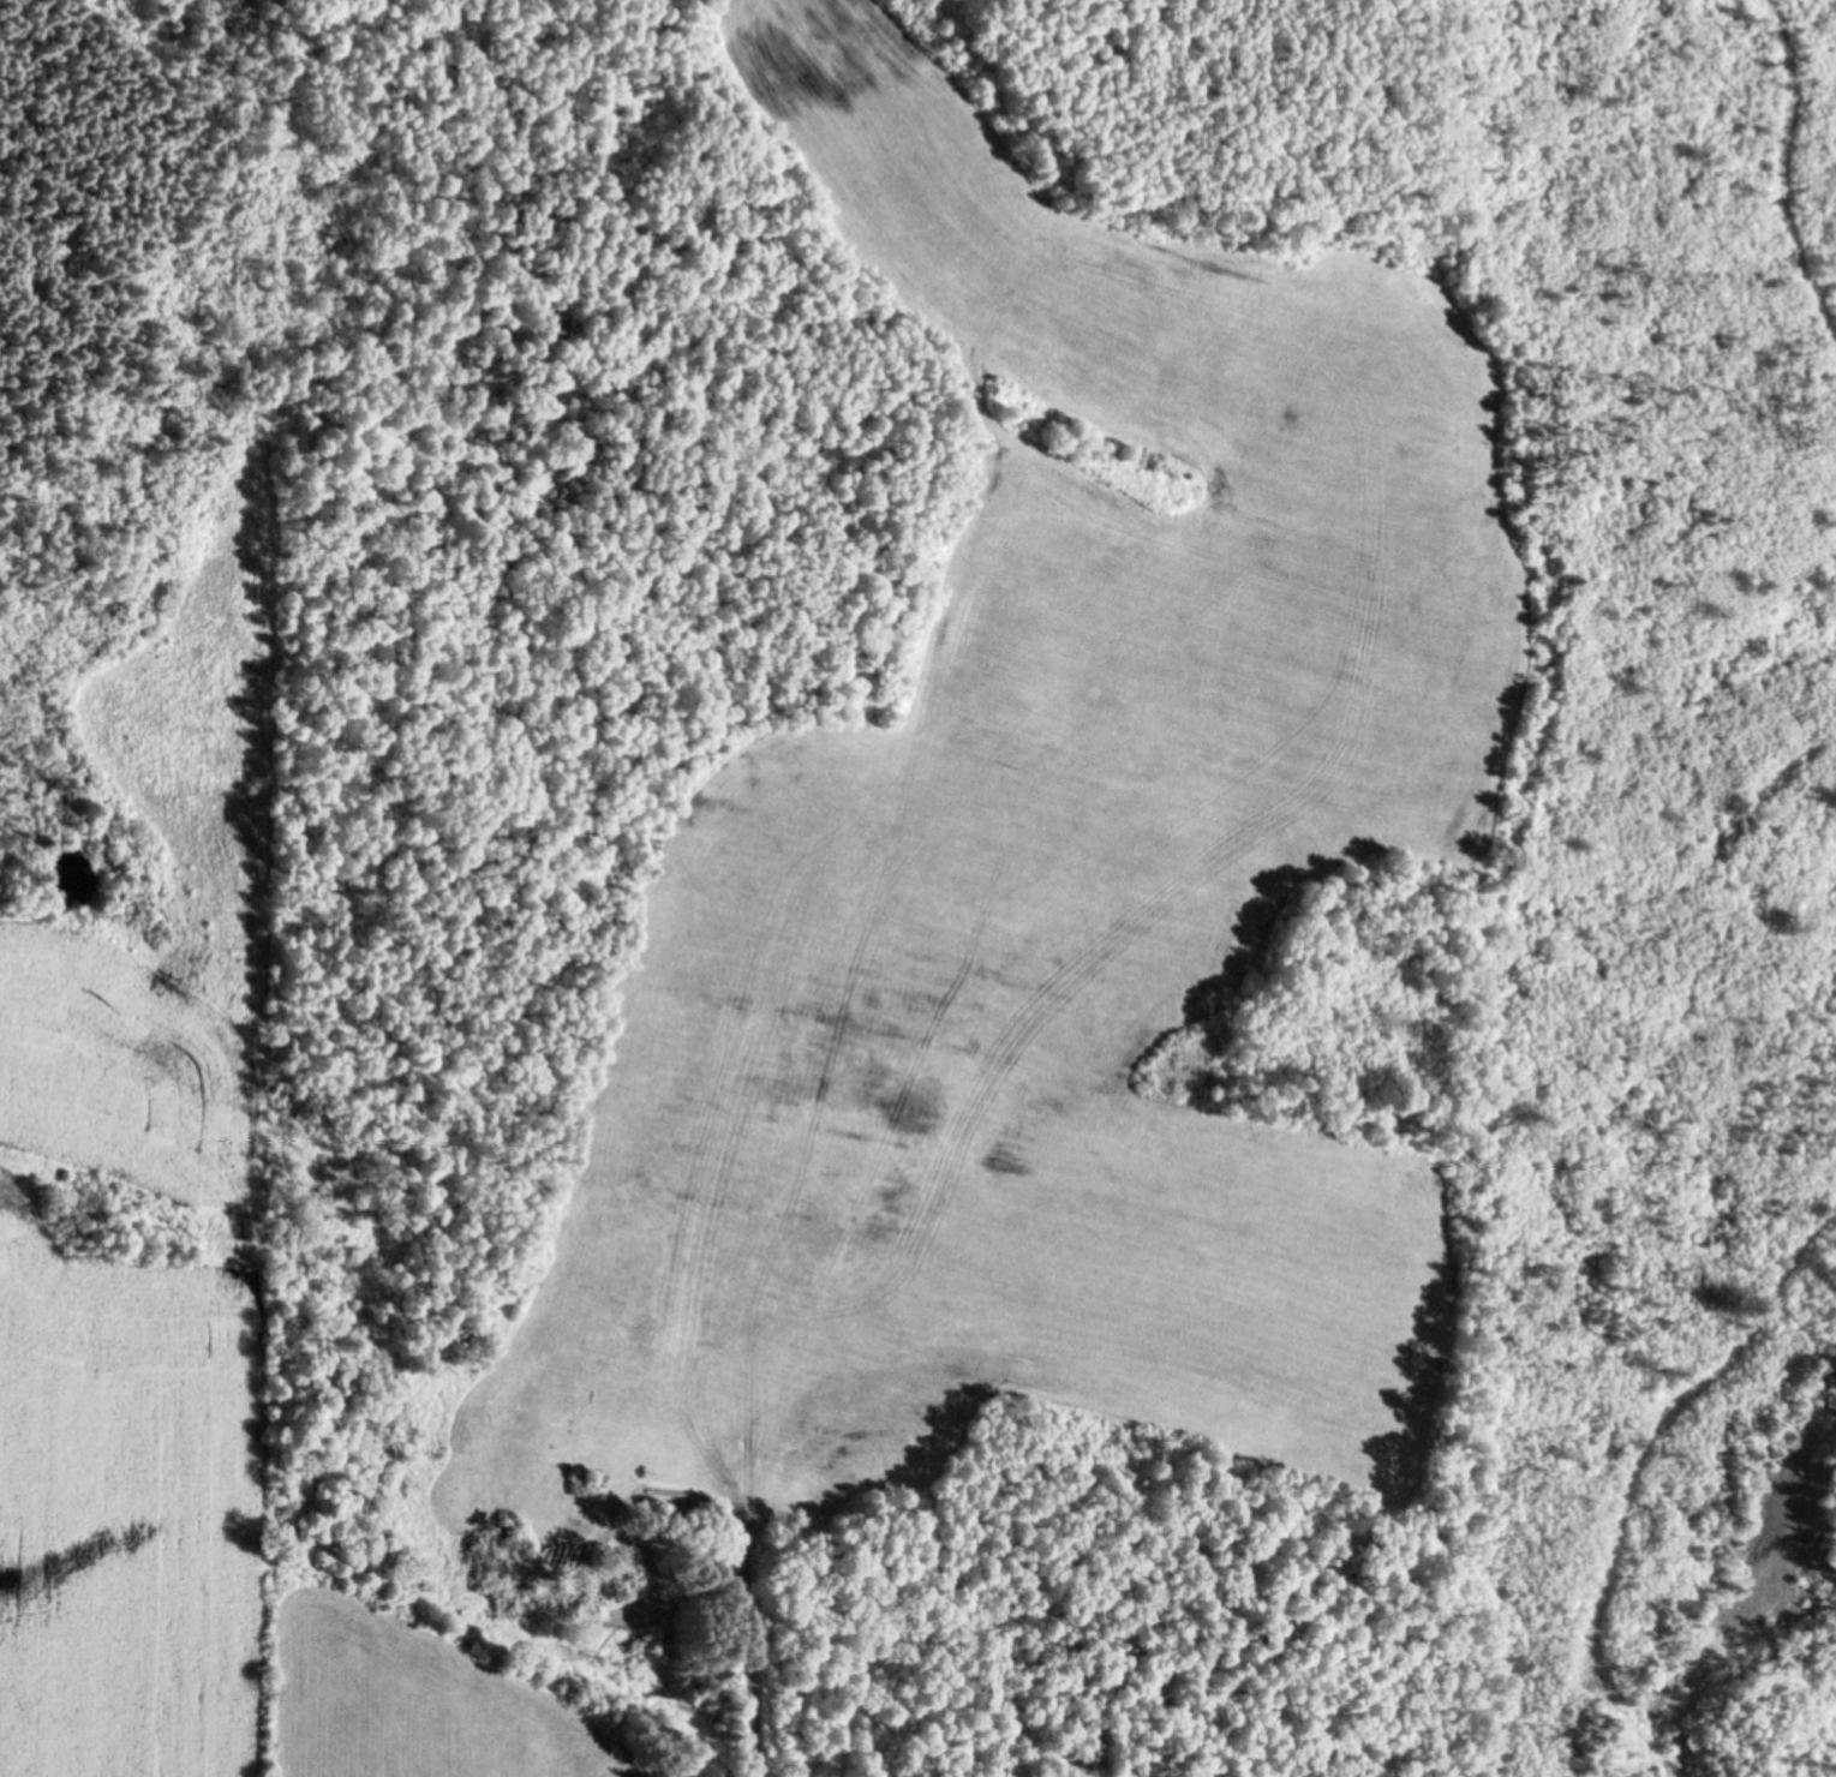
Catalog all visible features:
road: (748, 1604)

